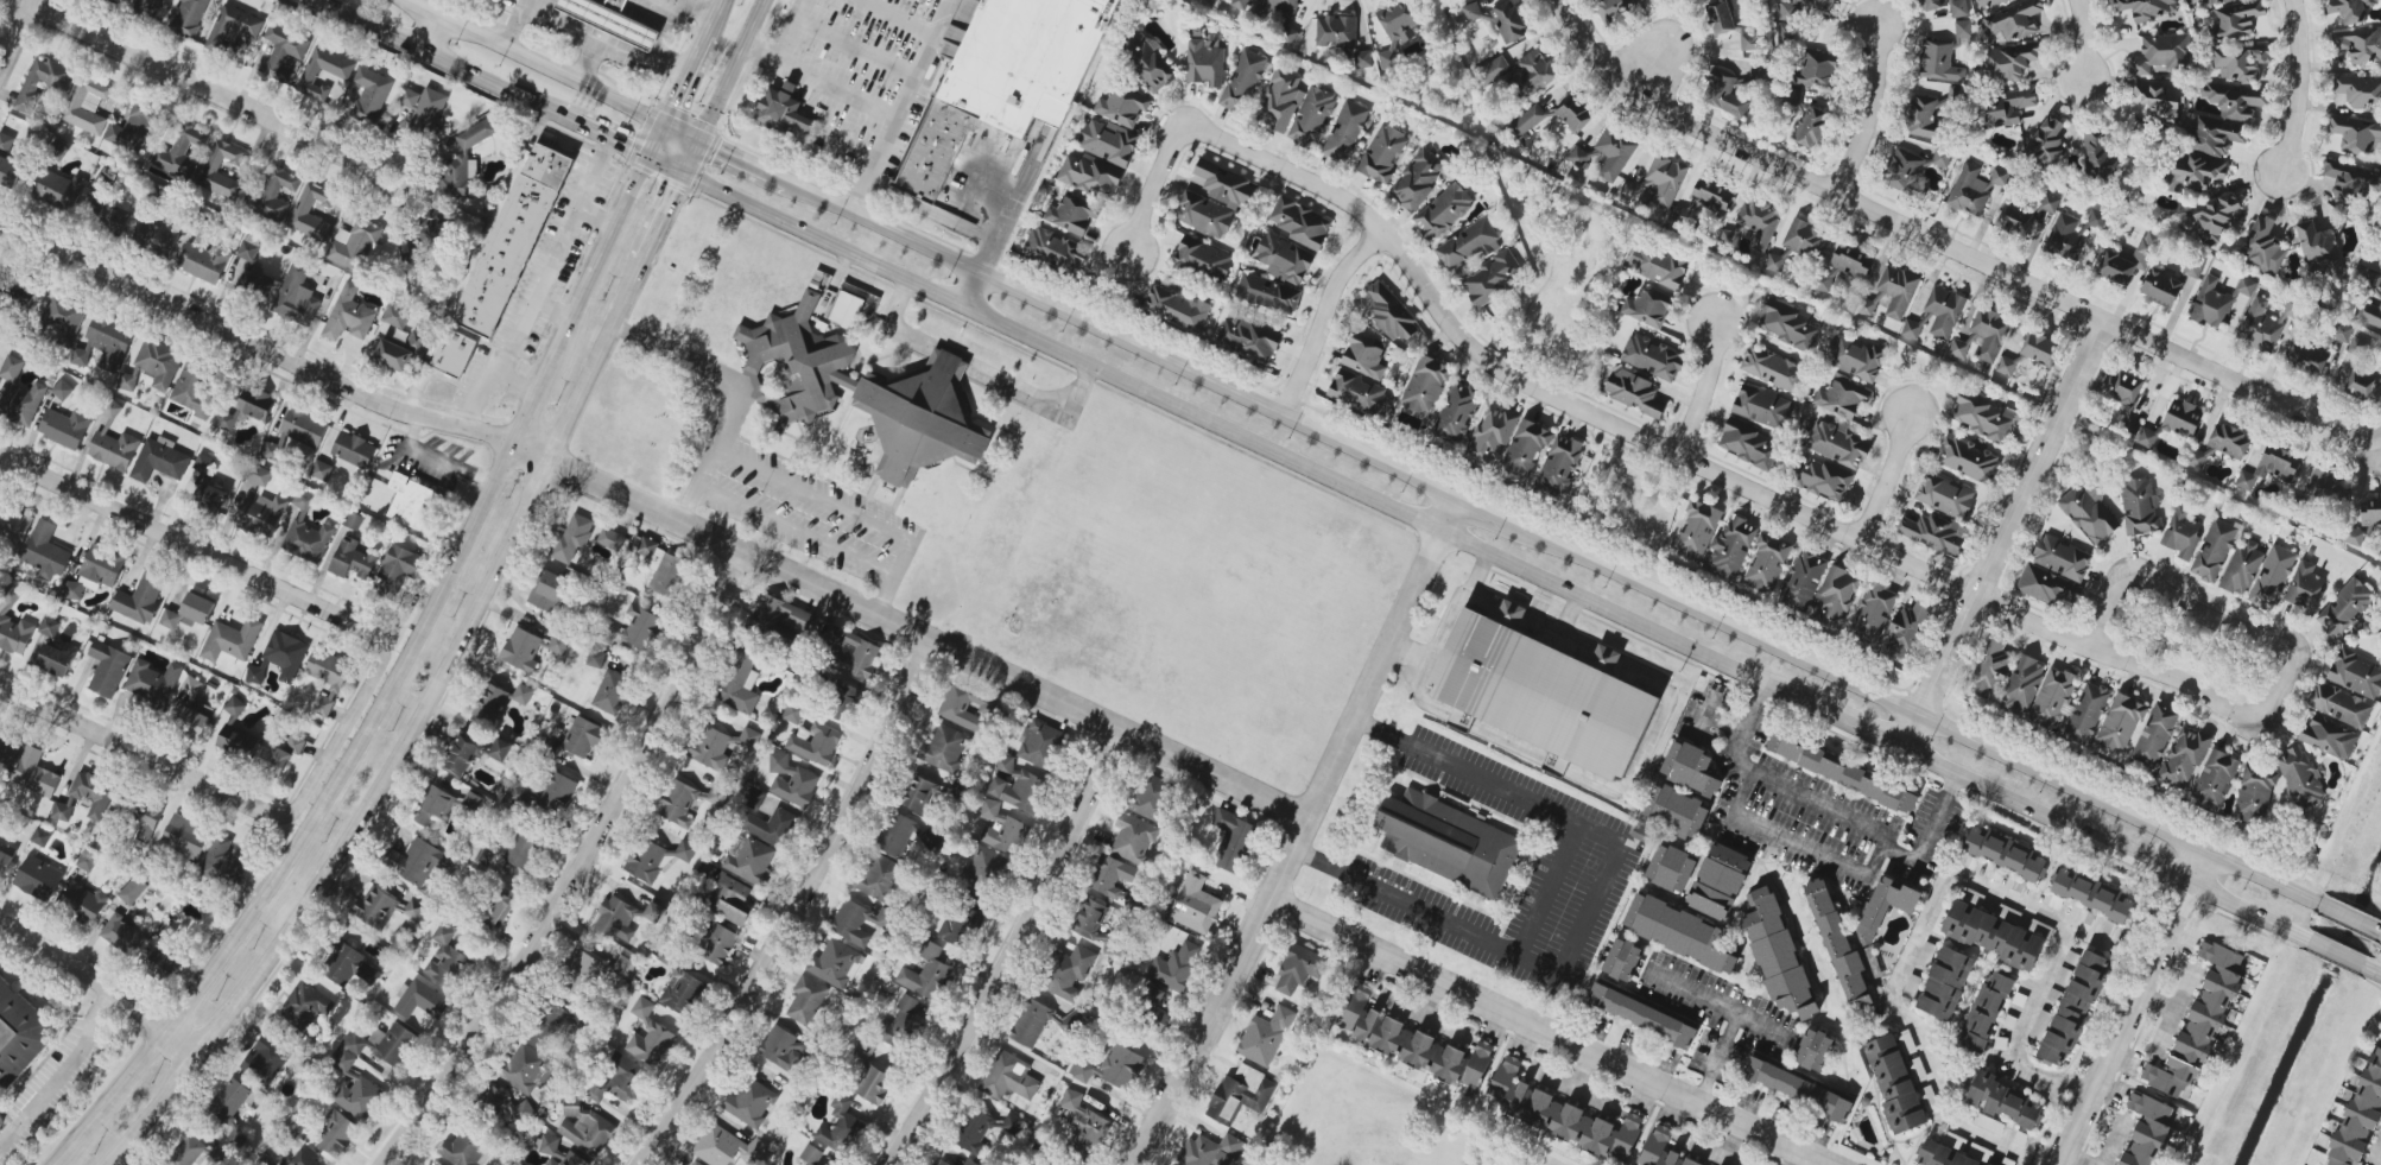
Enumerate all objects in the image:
building: (1209, 2)
building: (1989, 2)
building: (2210, 2)
building: (1240, 4)
building: (1932, 5)
building: (147, 7)
road: (697, 7)
building: (1790, 8)
building: (1958, 8)
building: (2143, 8)
building: (1279, 10)
building: (1615, 10)
building: (189, 17)
building: (1720, 17)
road: (897, 18)
building: (1497, 19)
building: (610, 20)
building: (2012, 21)
building: (2235, 21)
road: (517, 24)
building: (233, 26)
road: (793, 29)
road: (663, 30)
building: (1397, 31)
road: (14, 32)
road: (430, 33)
building: (1337, 33)
building: (1788, 33)
building: (1964, 33)
building: (1749, 40)
road: (2084, 40)
road: (606, 42)
building: (2362, 45)
road: (855, 48)
building: (284, 51)
building: (2160, 53)
road: (437, 57)
building: (1363, 58)
road: (587, 59)
road: (532, 61)
building: (2010, 61)
road: (692, 62)
building: (1205, 62)
road: (1658, 62)
building: (1939, 62)
building: (2240, 62)
building: (1151, 67)
parking lot: (865, 70)
building: (1817, 70)
building: (1518, 74)
building: (342, 75)
road: (818, 77)
building: (1001, 81)
building: (42, 82)
building: (1242, 82)
road: (194, 83)
road: (907, 87)
building: (2358, 89)
road: (2300, 91)
building: (371, 94)
building: (1725, 94)
building: (1793, 97)
building: (2234, 100)
building: (1279, 101)
building: (2158, 102)
building: (88, 105)
building: (1122, 106)
building: (2008, 107)
building: (423, 108)
building: (784, 113)
building: (1573, 114)
road: (1873, 114)
building: (1924, 116)
building: (1312, 118)
traffic signals: (663, 124)
building: (1527, 125)
building: (1811, 127)
building: (132, 128)
road: (679, 131)
building: (1345, 132)
building: (2356, 133)
road: (603, 135)
building: (2215, 138)
traffic signals: (697, 139)
road: (654, 140)
building: (2046, 140)
building: (1108, 141)
building: (2098, 152)
building: (1382, 153)
building: (1614, 153)
building: (1579, 156)
traffic signals: (647, 157)
building: (464, 160)
road: (742, 160)
building: (7, 163)
road: (664, 164)
building: (1911, 169)
building: (211, 170)
traffic signals: (682, 172)
building: (2195, 172)
building: (1090, 175)
building: (1417, 178)
road: (371, 179)
building: (1663, 181)
building: (2349, 181)
building: (1974, 189)
building: (59, 191)
building: (276, 192)
road: (859, 194)
building: (1215, 200)
road: (1579, 203)
building: (1702, 203)
building: (2050, 203)
building: (302, 210)
building: (1443, 211)
building: (1071, 215)
building: (114, 219)
road: (1007, 220)
building: (2015, 220)
building: (2096, 220)
building: (1759, 221)
building: (1299, 222)
building: (154, 236)
building: (1805, 238)
building: (2064, 238)
building: (512, 240)
road: (1931, 240)
building: (1468, 246)
building: (2262, 246)
building: (248, 247)
building: (1056, 251)
building: (2319, 251)
building: (1204, 259)
building: (1284, 259)
building: (2128, 260)
building: (204, 261)
building: (1658, 266)
building: (1843, 268)
building: (2380, 271)
park: (1559, 274)
building: (1492, 278)
road: (537, 283)
building: (254, 284)
building: (2160, 289)
road: (974, 290)
building: (1896, 290)
building: (1268, 293)
building: (296, 297)
building: (2216, 300)
building: (2370, 300)
building: (1868, 306)
building: (846, 309)
building: (1177, 309)
building: (1647, 309)
building: (1944, 311)
building: (349, 315)
building: (1392, 315)
building: (397, 316)
building: (63, 318)
road: (1326, 321)
building: (2266, 323)
building: (1788, 327)
building: (1913, 328)
building: (1983, 336)
road: (1121, 340)
building: (1247, 340)
building: (105, 343)
building: (2358, 347)
building: (2300, 348)
building: (2040, 349)
building: (399, 352)
building: (454, 353)
building: (1364, 356)
building: (1651, 357)
building: (1854, 357)
building: (153, 366)
road: (975, 368)
building: (1772, 368)
building: (2364, 382)
building: (1425, 385)
road: (741, 387)
building: (2122, 387)
building: (62, 390)
building: (194, 390)
road: (1705, 390)
building: (1356, 392)
building: (1634, 392)
building: (19, 394)
building: (867, 394)
building: (1841, 398)
building: (1761, 406)
building: (248, 407)
building: (113, 410)
building: (1456, 413)
building: (1984, 417)
building: (64, 428)
building: (297, 433)
building: (1490, 436)
building: (2146, 438)
road: (2360, 438)
building: (1749, 444)
road: (1258, 445)
building: (1837, 445)
building: (2221, 447)
building: (114, 450)
building: (1525, 450)
building: (353, 451)
road: (1680, 454)
road: (439, 456)
building: (1967, 460)
building: (159, 461)
building: (202, 463)
building: (1559, 466)
building: (2272, 467)
building: (321, 470)
building: (260, 475)
road: (1887, 479)
building: (1824, 480)
building: (2326, 486)
road: (1626, 487)
building: (1945, 496)
building: (210, 498)
park: (1622, 498)
building: (410, 501)
road: (840, 505)
building: (2139, 506)
road: (657, 511)
building: (2370, 512)
building: (2090, 513)
parking lot: (803, 514)
road: (1493, 514)
building: (261, 517)
building: (353, 520)
building: (13, 524)
building: (1698, 528)
building: (1933, 532)
building: (2181, 533)
road: (800, 536)
road: (2005, 536)
building: (2351, 536)
building: (571, 539)
building: (613, 539)
building: (308, 540)
building: (1730, 549)
building: (2214, 550)
building: (45, 552)
building: (2062, 558)
building: (352, 559)
building: (1767, 563)
building: (102, 568)
road: (238, 568)
building: (661, 568)
building: (398, 569)
building: (2241, 569)
building: (2272, 577)
building: (1804, 581)
building: (2048, 587)
building: (2304, 587)
building: (74, 590)
building: (547, 590)
road: (2164, 591)
building: (141, 597)
building: (1835, 597)
road: (887, 599)
road: (476, 607)
building: (2344, 608)
building: (190, 612)
building: (1873, 613)
building: (784, 618)
building: (13, 625)
building: (50, 628)
building: (1907, 628)
building: (634, 629)
building: (558, 644)
building: (521, 650)
building: (853, 652)
building: (280, 658)
building: (595, 659)
building: (55, 661)
building: (107, 669)
building: (1990, 669)
building: (2355, 673)
building: (328, 678)
building: (152, 682)
building: (2022, 684)
road: (391, 685)
building: (740, 685)
building: (612, 692)
building: (523, 694)
building: (1541, 694)
building: (2052, 698)
building: (842, 701)
building: (490, 703)
building: (2339, 704)
building: (235, 707)
building: (962, 708)
building: (793, 713)
road: (1701, 714)
building: (2086, 714)
road: (1918, 717)
building: (194, 720)
road: (1721, 722)
building: (2120, 723)
road: (1864, 732)
building: (2154, 735)
building: (584, 737)
building: (2330, 737)
building: (748, 739)
building: (236, 742)
building: (815, 743)
building: (1039, 743)
building: (6, 748)
building: (710, 748)
building: (501, 749)
building: (944, 749)
building: (2184, 754)
building: (279, 755)
building: (461, 755)
building: (1690, 768)
building: (1841, 772)
building: (34, 773)
road: (186, 777)
building: (2301, 778)
building: (792, 780)
building: (2215, 780)
building: (1018, 786)
building: (93, 793)
building: (518, 793)
building: (558, 793)
building: (2254, 794)
building: (920, 796)
building: (1150, 796)
building: (754, 798)
building: (688, 800)
building: (444, 804)
building: (1674, 811)
building: (61, 812)
building: (145, 822)
building: (772, 827)
building: (1001, 829)
building: (897, 834)
road: (1879, 834)
road: (1926, 834)
road: (1300, 835)
building: (40, 837)
building: (185, 837)
building: (1133, 838)
building: (1233, 840)
road: (2096, 840)
building: (1448, 842)
building: (521, 849)
building: (2005, 854)
building: (656, 859)
building: (749, 859)
building: (220, 860)
building: (87, 861)
building: (414, 861)
building: (5, 862)
building: (1671, 868)
road: (581, 869)
building: (983, 869)
building: (1113, 876)
building: (880, 878)
building: (38, 879)
building: (1718, 881)
building: (133, 891)
road: (1547, 891)
building: (2091, 895)
building: (1972, 897)
building: (729, 899)
building: (84, 900)
building: (1195, 905)
building: (1885, 906)
building: (375, 907)
building: (498, 908)
building: (414, 910)
road: (1590, 910)
road: (800, 911)
building: (654, 912)
building: (2008, 914)
road: (2345, 916)
building: (616, 918)
building: (860, 922)
building: (1091, 923)
building: (961, 926)
building: (1678, 931)
building: (122, 935)
building: (1997, 936)
building: (718, 944)
building: (1839, 948)
road: (1012, 951)
road: (2336, 952)
building: (164, 955)
building: (1778, 955)
building: (447, 958)
building: (1621, 960)
building: (835, 964)
road: (1905, 964)
building: (349, 967)
building: (1176, 967)
building: (1299, 969)
building: (590, 971)
building: (1068, 973)
road: (2377, 973)
building: (925, 974)
building: (1944, 983)
road: (101, 984)
building: (682, 992)
building: (420, 1000)
building: (806, 1000)
road: (2157, 1002)
road: (1716, 1003)
building: (305, 1005)
road: (2132, 1006)
river: (2306, 1006)
road: (2031, 1008)
building: (2073, 1009)
building: (1153, 1011)
building: (1986, 1011)
road: (2173, 1012)
building: (1644, 1015)
building: (1072, 1021)
building: (2199, 1022)
building: (903, 1024)
building: (1031, 1024)
building: (549, 1026)
road: (1547, 1032)
building: (19, 1034)
building: (648, 1036)
building: (1266, 1037)
building: (1411, 1043)
building: (783, 1049)
building: (1813, 1050)
building: (863, 1051)
road: (1716, 1058)
building: (266, 1059)
building: (1113, 1068)
building: (527, 1069)
road: (61, 1072)
building: (353, 1075)
road: (2338, 1076)
building: (1008, 1077)
building: (621, 1082)
building: (1894, 1083)
road: (2069, 1083)
building: (874, 1084)
building: (1797, 1088)
building: (1240, 1094)
building: (2003, 1101)
road: (2058, 1102)
building: (751, 1103)
building: (508, 1106)
building: (230, 1109)
building: (1558, 1113)
building: (2360, 1114)
building: (1, 1120)
building: (1988, 1123)
park: (1376, 1125)
building: (1084, 1126)
building: (584, 1127)
building: (841, 1127)
building: (986, 1129)
building: (2147, 1129)
building: (336, 1134)
road: (2116, 1141)
building: (727, 1147)
building: (466, 1148)
building: (1661, 1150)
building: (1211, 1151)
building: (186, 1152)
building: (220, 1152)
building: (557, 1153)
building: (811, 1154)
building: (1942, 1155)
road: (2077, 1158)
building: (944, 1161)
building: (694, 1163)
building: (969, 1163)
building: (435, 1164)

